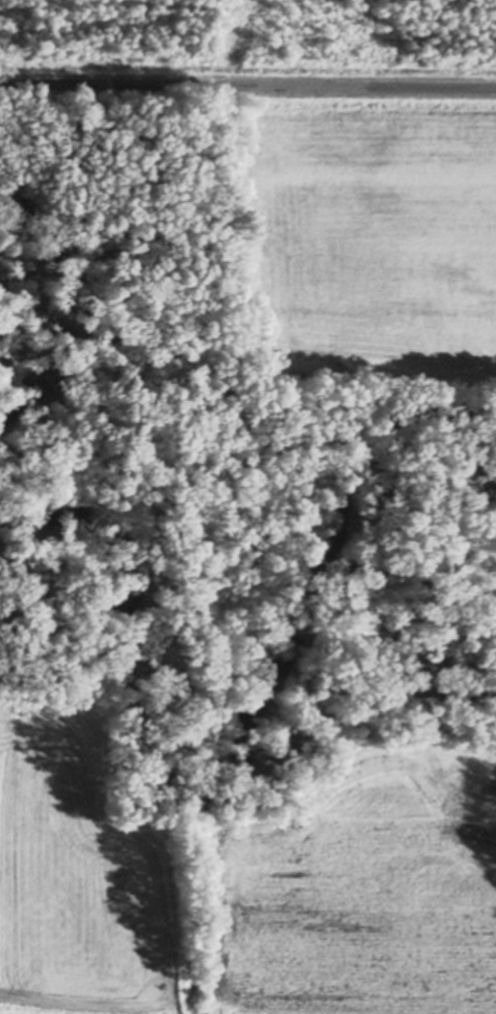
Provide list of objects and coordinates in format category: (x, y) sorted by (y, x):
road: (248, 86)

